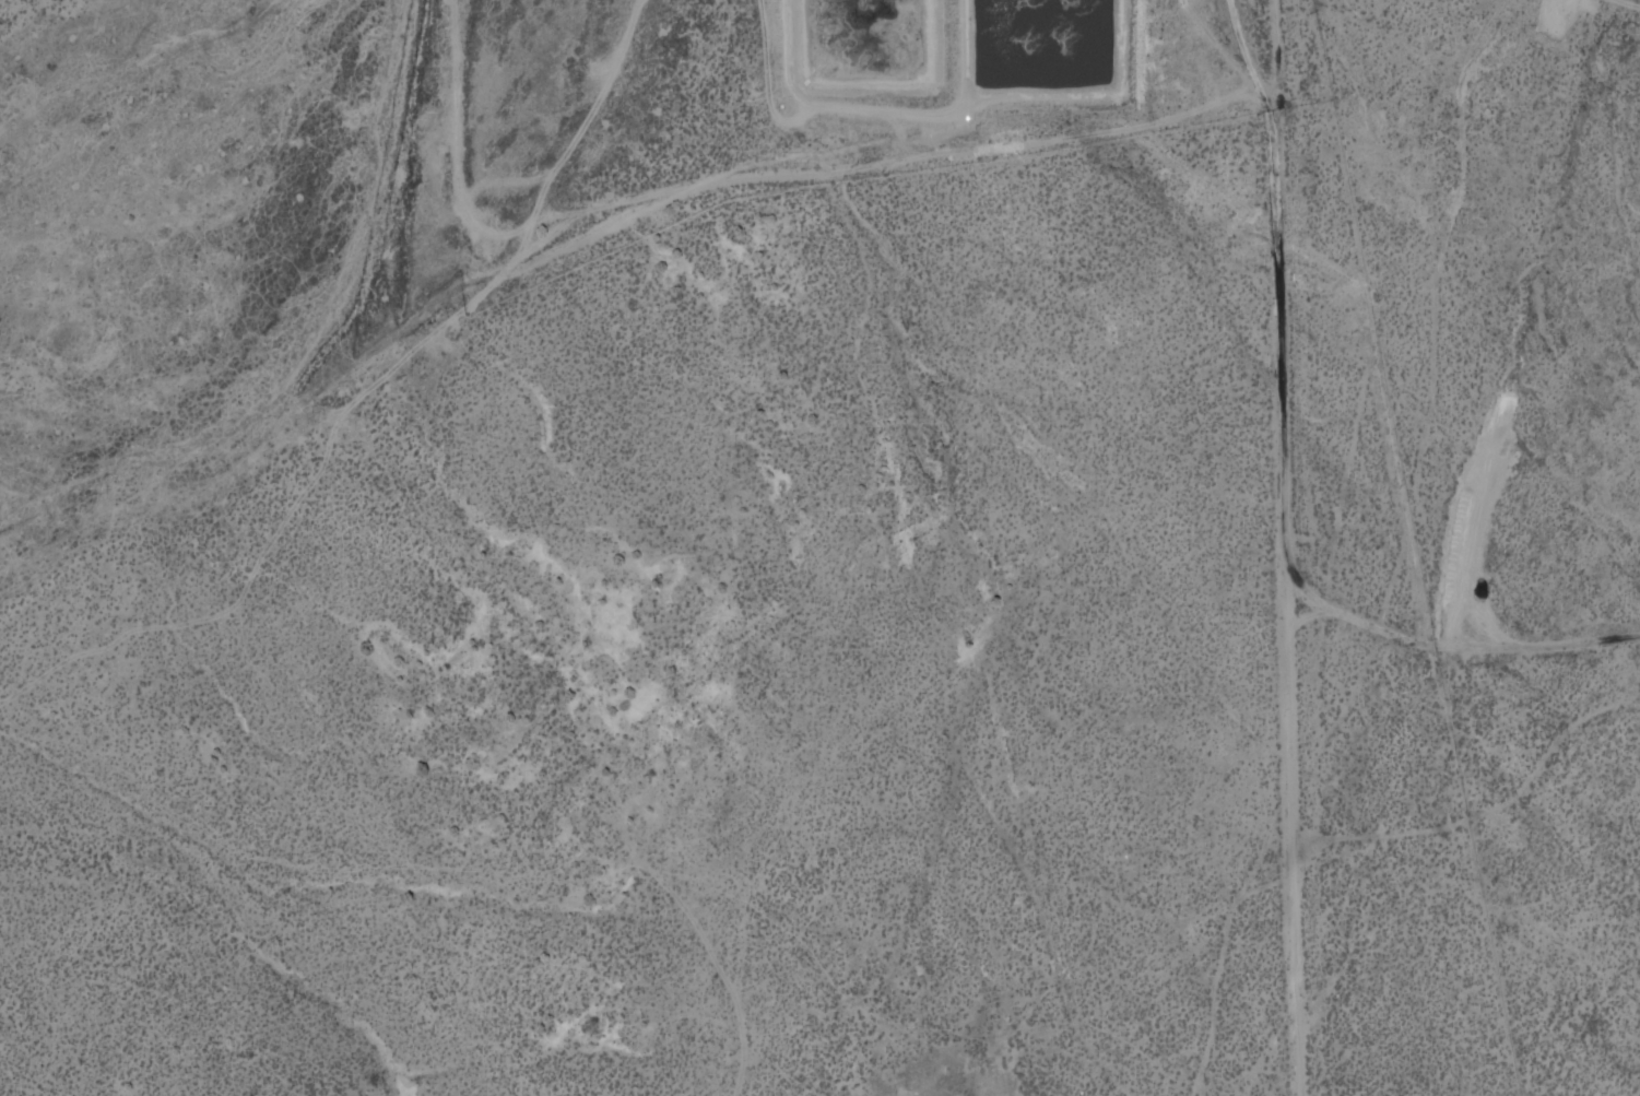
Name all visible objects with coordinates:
road: (1285, 602)

